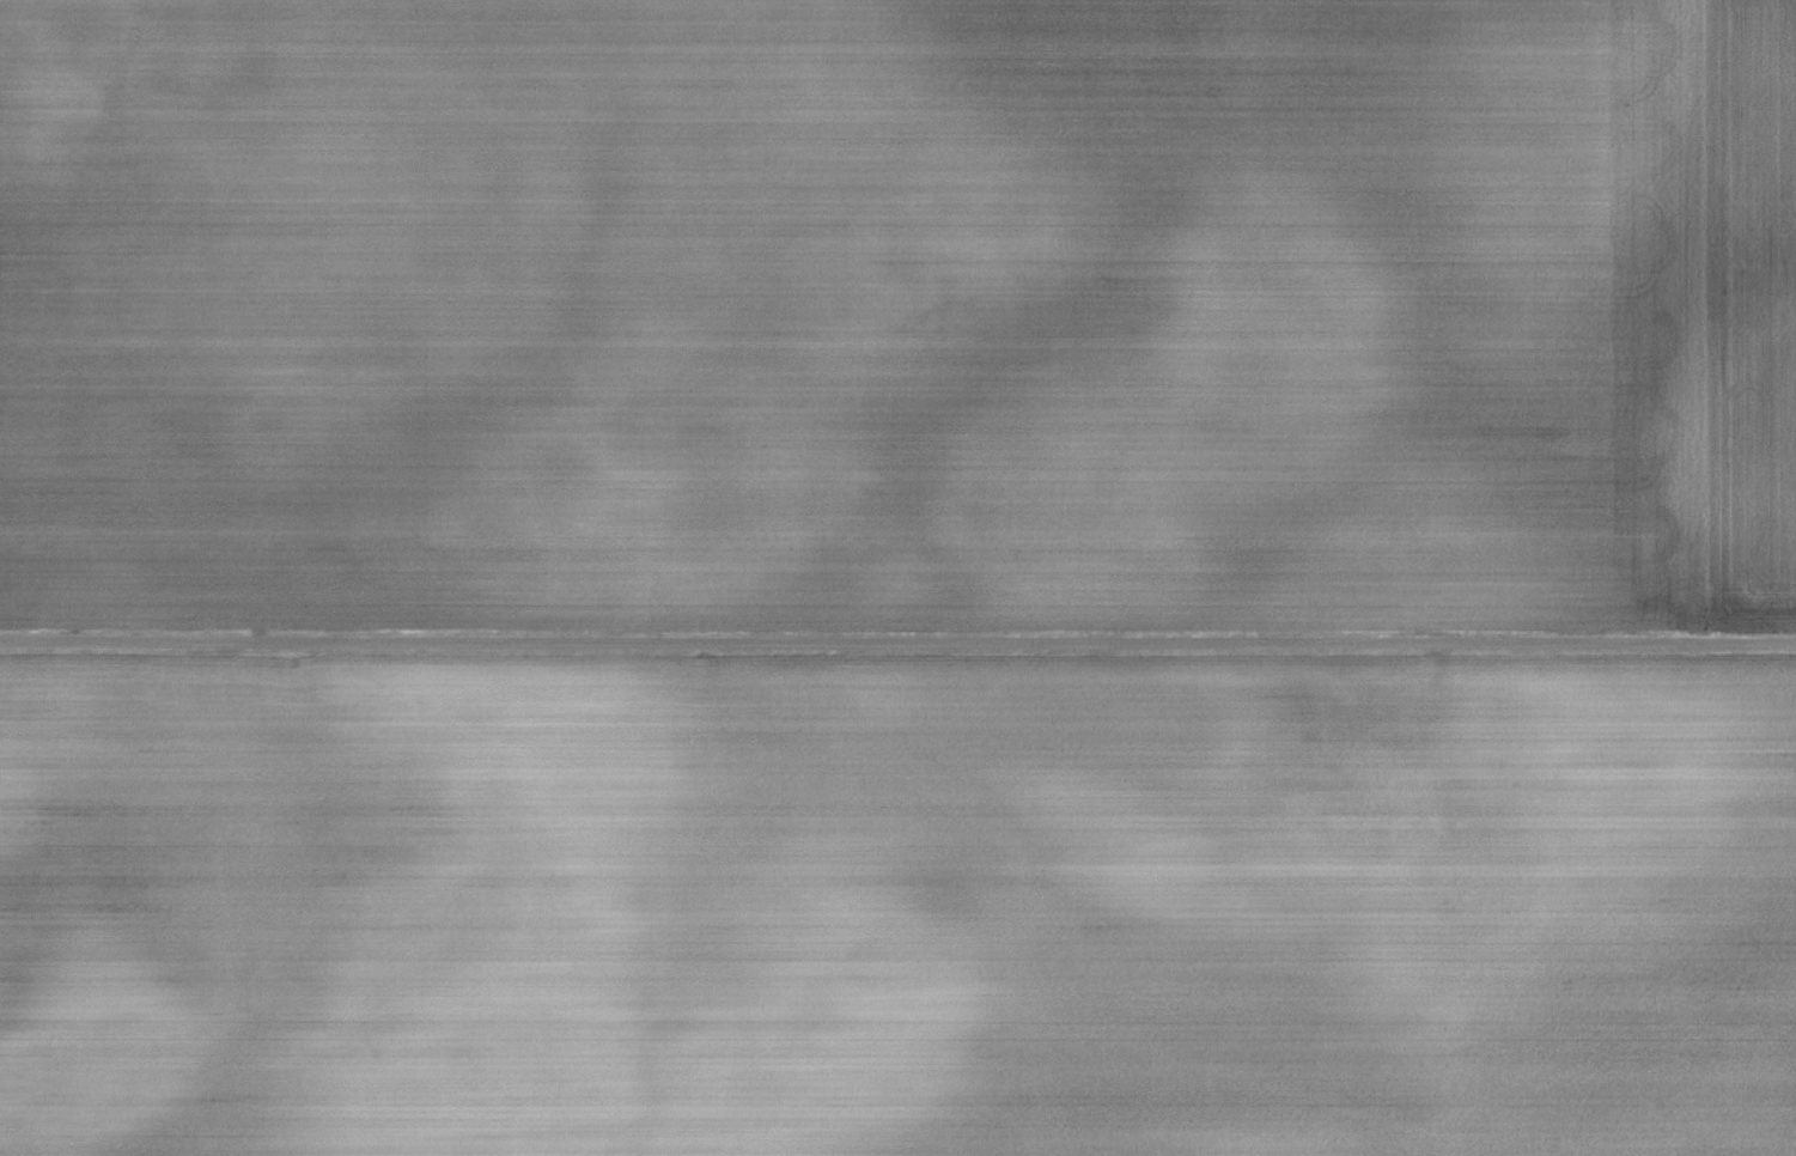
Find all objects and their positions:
road: (897, 629)

